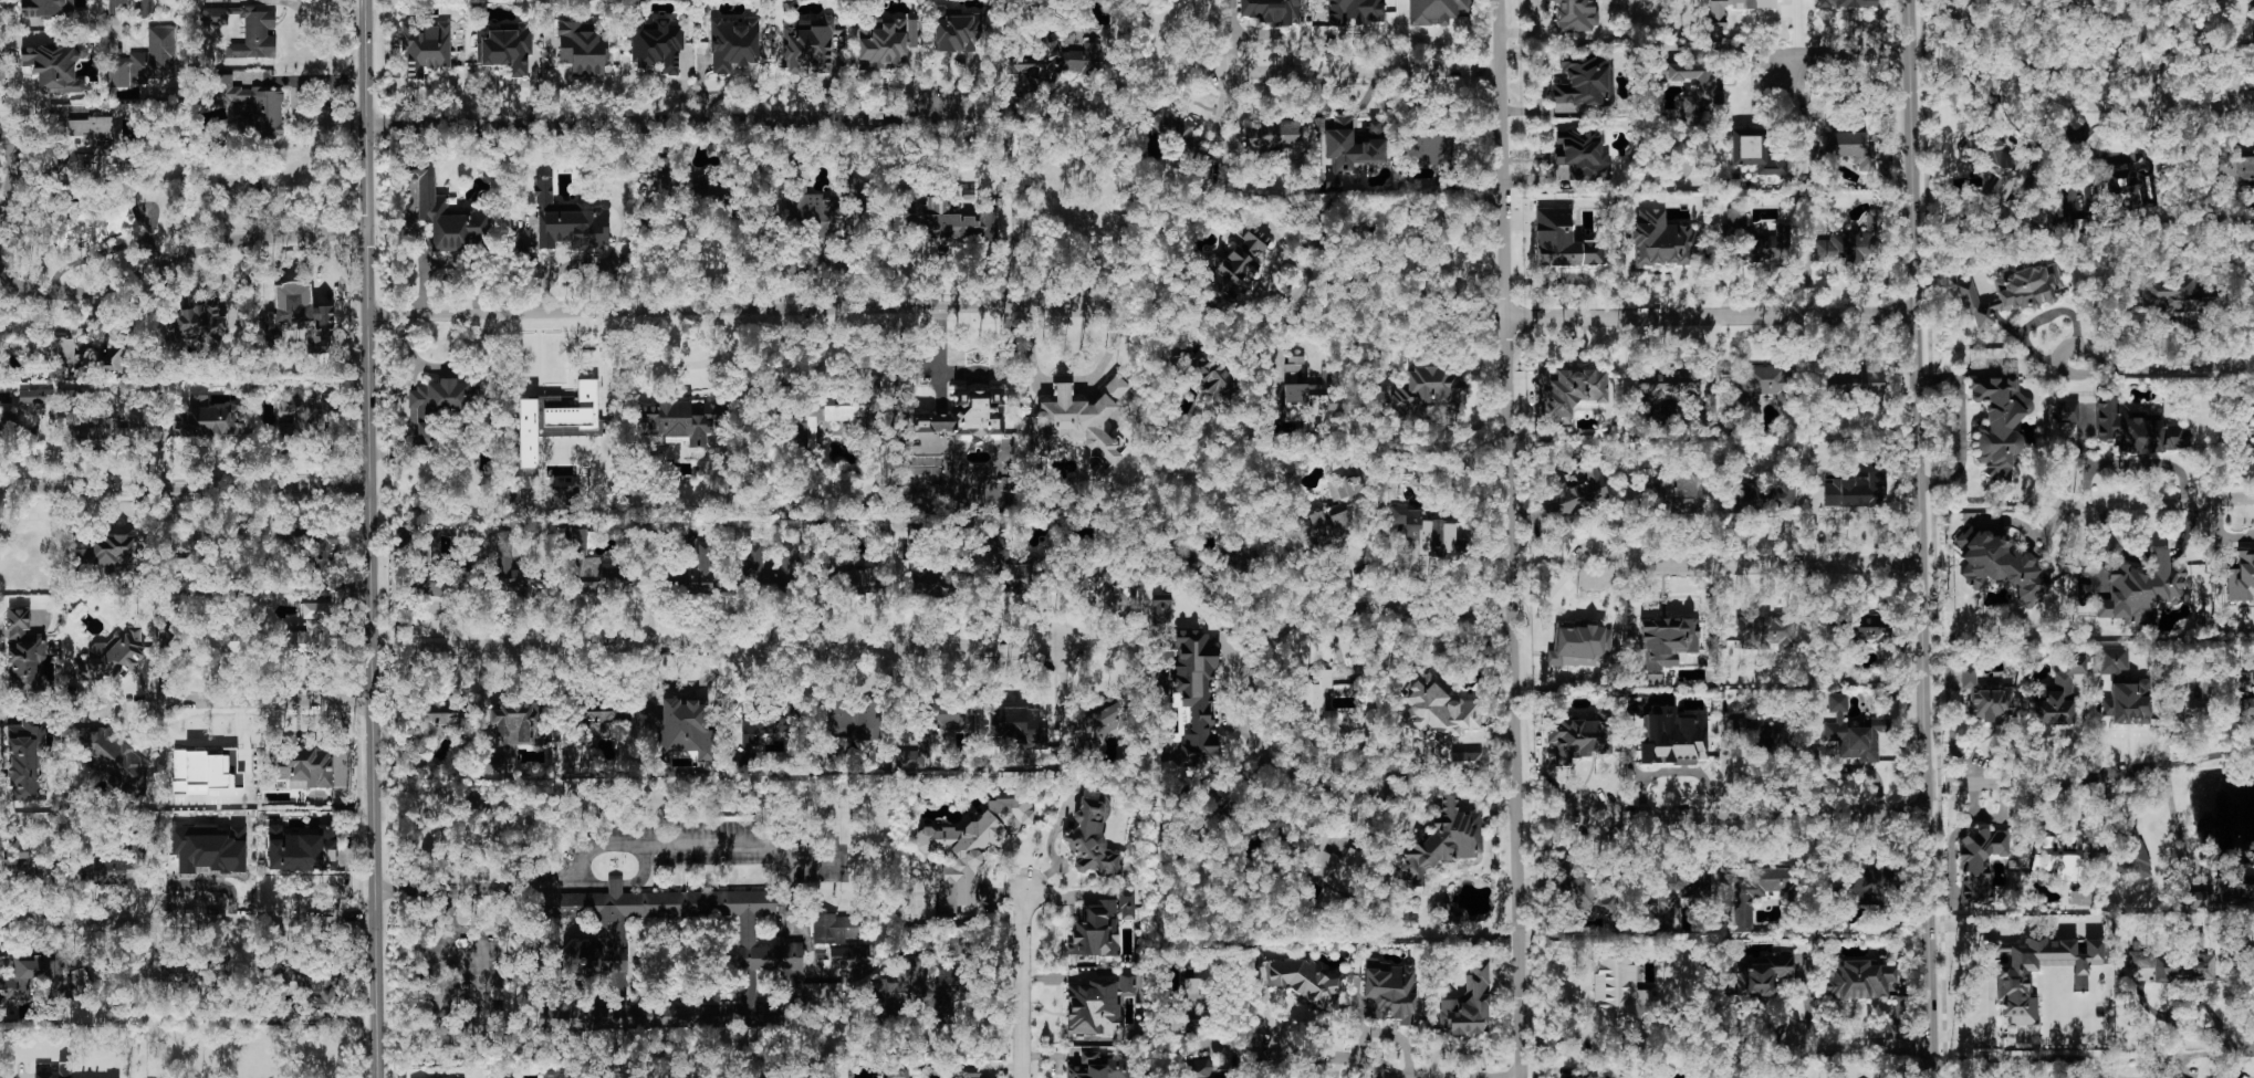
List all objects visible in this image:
building: (1971, 2)
building: (1844, 3)
building: (46, 9)
building: (1434, 11)
building: (1716, 11)
building: (1355, 12)
building: (1575, 15)
building: (215, 17)
building: (2253, 28)
building: (958, 30)
road: (1531, 31)
road: (2164, 33)
building: (255, 35)
road: (2141, 35)
building: (885, 42)
building: (733, 43)
building: (657, 44)
building: (806, 45)
building: (504, 48)
building: (426, 49)
building: (584, 49)
road: (1841, 56)
road: (2008, 56)
building: (147, 57)
building: (1054, 60)
road: (1167, 64)
building: (55, 65)
road: (1364, 71)
road: (2115, 71)
road: (2239, 80)
building: (1585, 81)
building: (1709, 94)
road: (2045, 95)
road: (2158, 103)
building: (254, 105)
road: (653, 121)
road: (1222, 122)
building: (1175, 134)
building: (1275, 135)
road: (2076, 136)
building: (91, 140)
building: (1849, 144)
building: (1352, 149)
building: (1430, 149)
building: (1755, 153)
building: (1583, 154)
road: (1502, 158)
building: (2237, 170)
building: (665, 172)
building: (2112, 191)
building: (413, 192)
building: (810, 207)
building: (449, 216)
building: (1736, 219)
building: (570, 221)
building: (1089, 221)
building: (954, 222)
building: (93, 227)
building: (1662, 240)
building: (1563, 241)
building: (1851, 243)
building: (1766, 247)
road: (947, 251)
building: (1236, 263)
road: (1718, 268)
road: (109, 279)
building: (2011, 293)
building: (2181, 294)
road: (726, 311)
road: (1709, 317)
road: (2039, 320)
building: (198, 324)
road: (1425, 324)
building: (59, 350)
road: (2163, 369)
road: (1079, 378)
building: (1214, 379)
building: (1855, 381)
building: (1668, 384)
building: (1765, 385)
building: (1569, 391)
building: (1429, 393)
building: (35, 397)
building: (1311, 398)
building: (857, 402)
building: (437, 405)
building: (2066, 411)
building: (964, 415)
building: (304, 417)
building: (206, 419)
building: (1082, 419)
building: (679, 420)
building: (555, 421)
building: (2000, 421)
building: (6, 427)
building: (133, 427)
building: (2137, 429)
building: (811, 430)
road: (2135, 463)
road: (185, 489)
building: (1674, 490)
building: (1856, 491)
building: (1783, 494)
building: (563, 495)
building: (1573, 495)
building: (1746, 498)
road: (2149, 502)
road: (1981, 506)
building: (1333, 516)
building: (1425, 532)
road: (2221, 533)
road: (372, 538)
road: (1917, 538)
building: (106, 553)
building: (325, 554)
road: (2149, 556)
building: (2000, 564)
road: (1755, 566)
building: (591, 568)
building: (703, 571)
building: (1204, 575)
building: (854, 579)
building: (2241, 579)
building: (435, 582)
building: (935, 582)
building: (2142, 589)
road: (1555, 603)
building: (1161, 608)
building: (169, 609)
building: (314, 610)
road: (1277, 629)
building: (1766, 632)
building: (304, 640)
building: (1667, 640)
building: (210, 645)
building: (1579, 646)
road: (716, 648)
building: (23, 652)
building: (115, 656)
building: (2112, 660)
building: (1968, 677)
building: (2253, 691)
building: (1196, 692)
building: (2056, 694)
road: (1511, 698)
road: (278, 702)
building: (1316, 702)
building: (2127, 703)
building: (1990, 705)
building: (2190, 707)
building: (1438, 709)
building: (604, 713)
building: (945, 713)
building: (854, 720)
building: (431, 721)
building: (519, 722)
building: (1098, 722)
building: (766, 724)
building: (1014, 728)
building: (685, 730)
building: (1853, 732)
building: (1760, 735)
building: (1577, 737)
building: (1672, 737)
building: (24, 756)
building: (914, 756)
building: (114, 760)
building: (1461, 761)
building: (739, 763)
building: (303, 767)
building: (206, 772)
building: (42, 791)
road: (1928, 794)
road: (2178, 825)
building: (1092, 835)
building: (1442, 842)
road: (700, 844)
building: (2047, 844)
road: (1050, 847)
building: (209, 849)
building: (971, 849)
building: (300, 850)
building: (18, 855)
building: (2133, 858)
building: (1980, 861)
building: (1331, 866)
building: (117, 870)
building: (87, 872)
building: (1868, 883)
building: (2227, 890)
building: (1759, 892)
building: (1674, 894)
building: (1588, 900)
building: (1127, 906)
road: (190, 919)
building: (1450, 921)
road: (2008, 925)
building: (835, 929)
building: (1095, 930)
building: (844, 955)
building: (770, 956)
building: (2140, 959)
building: (2185, 967)
building: (2248, 972)
building: (1763, 974)
building: (43, 978)
building: (1859, 980)
building: (2013, 981)
road: (1022, 982)
building: (1304, 982)
building: (311, 984)
building: (823, 990)
building: (1390, 991)
building: (921, 992)
building: (1194, 992)
building: (1620, 995)
building: (1468, 1004)
building: (1097, 1005)
road: (455, 1025)
building: (1185, 1026)
road: (1990, 1028)
road: (1569, 1036)
road: (1860, 1047)
road: (2237, 1050)
road: (1308, 1054)
road: (1984, 1059)
building: (1097, 1067)
road: (1339, 1067)
building: (1197, 1068)
building: (56, 1072)
building: (970, 1072)
road: (21, 1074)
building: (897, 1074)
building: (1580, 1076)
building: (564, 1077)

